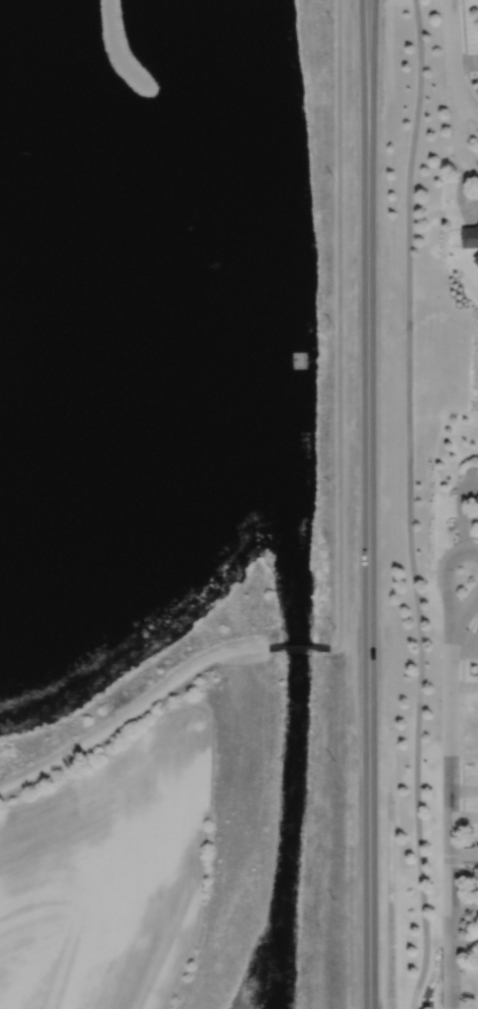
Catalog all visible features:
road: (116, 48)
road: (457, 72)
building: (472, 238)
road: (339, 327)
park: (178, 393)
building: (475, 500)
road: (369, 504)
road: (408, 505)
road: (298, 647)
road: (133, 712)
road: (450, 790)
crop: (112, 870)

